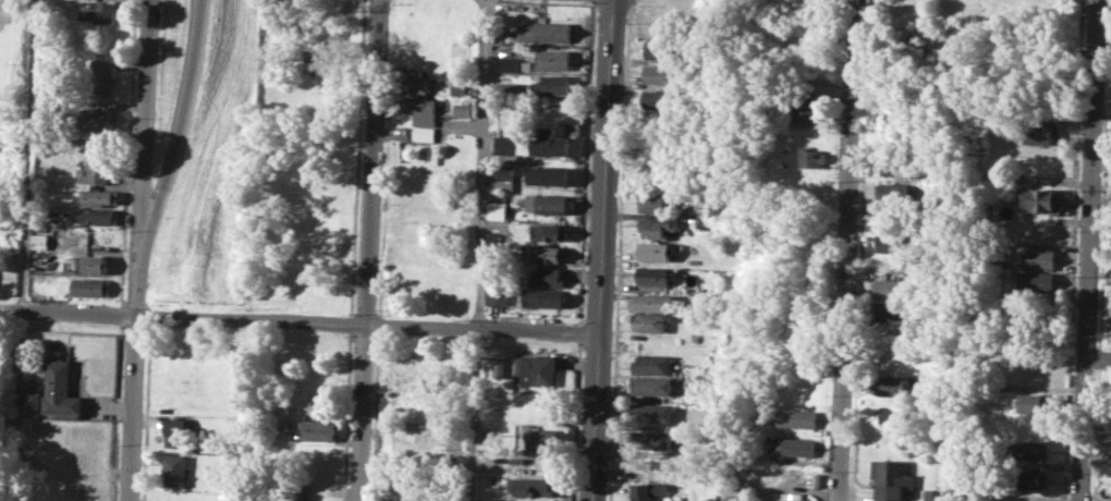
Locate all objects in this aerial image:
building: (98, 12)
building: (544, 32)
building: (662, 49)
building: (554, 59)
building: (510, 63)
building: (661, 74)
building: (100, 76)
building: (558, 84)
building: (415, 86)
building: (460, 88)
building: (513, 89)
building: (660, 99)
building: (808, 106)
building: (420, 109)
building: (465, 110)
building: (95, 118)
road: (147, 124)
road: (180, 126)
building: (1041, 133)
building: (424, 134)
building: (548, 144)
building: (509, 145)
road: (27, 155)
building: (807, 157)
building: (95, 164)
building: (905, 164)
road: (483, 166)
building: (48, 169)
building: (550, 174)
building: (505, 178)
building: (899, 192)
building: (98, 196)
building: (1043, 199)
building: (549, 203)
building: (656, 203)
building: (499, 210)
building: (716, 211)
building: (96, 216)
building: (655, 228)
building: (550, 231)
building: (896, 241)
road: (601, 249)
building: (656, 249)
road: (848, 249)
road: (1091, 249)
road: (370, 250)
building: (548, 254)
building: (1039, 258)
building: (93, 264)
building: (547, 276)
building: (654, 276)
building: (1036, 281)
building: (90, 288)
building: (895, 289)
building: (498, 295)
building: (545, 297)
building: (652, 303)
building: (891, 310)
building: (650, 322)
road: (297, 325)
road: (1099, 357)
building: (652, 364)
building: (500, 368)
building: (536, 369)
road: (133, 375)
building: (893, 384)
building: (651, 386)
building: (799, 390)
building: (62, 391)
building: (1035, 402)
building: (30, 403)
building: (651, 412)
building: (894, 415)
road: (475, 416)
building: (797, 418)
building: (315, 429)
building: (175, 432)
building: (542, 438)
building: (650, 440)
building: (796, 447)
building: (1030, 450)
building: (821, 464)
building: (174, 469)
building: (893, 478)
building: (1029, 478)
building: (534, 486)
building: (647, 490)
building: (937, 493)

